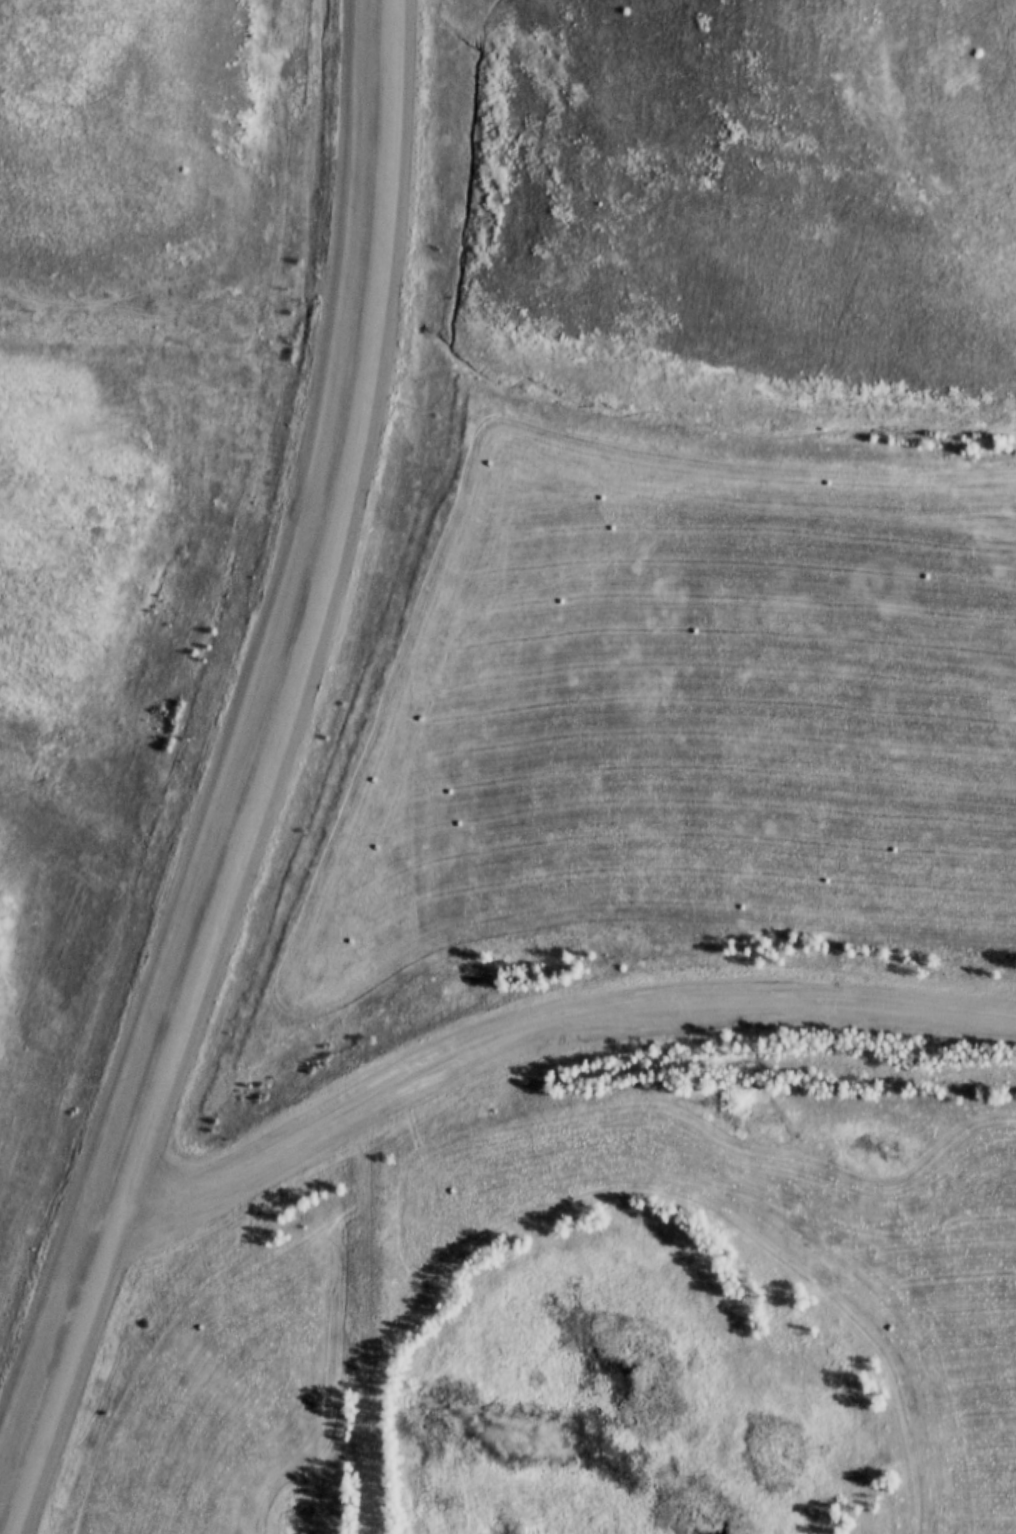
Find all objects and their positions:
quarry: (515, 208)
road: (414, 1087)
road: (368, 1322)

